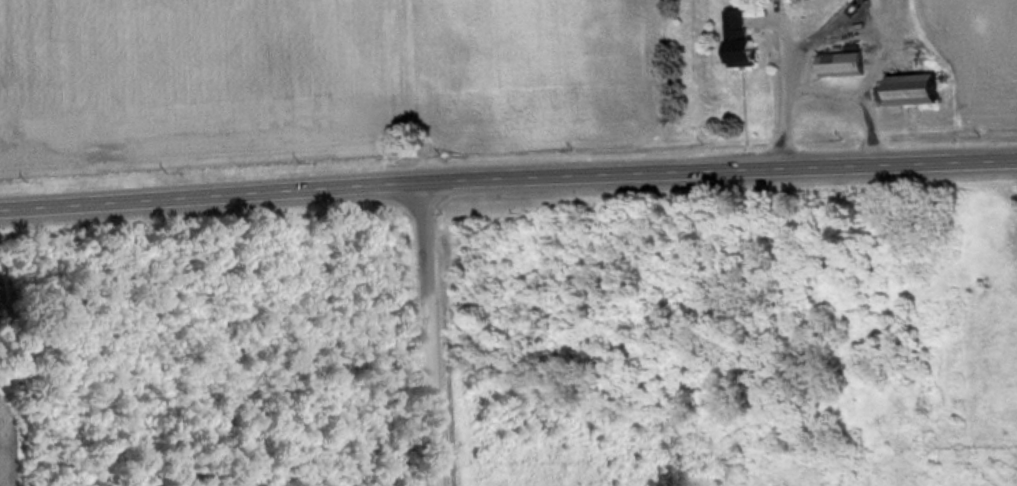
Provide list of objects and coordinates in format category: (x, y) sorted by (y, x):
building: (741, 43)
building: (842, 67)
building: (914, 93)
road: (508, 176)
road: (424, 333)

